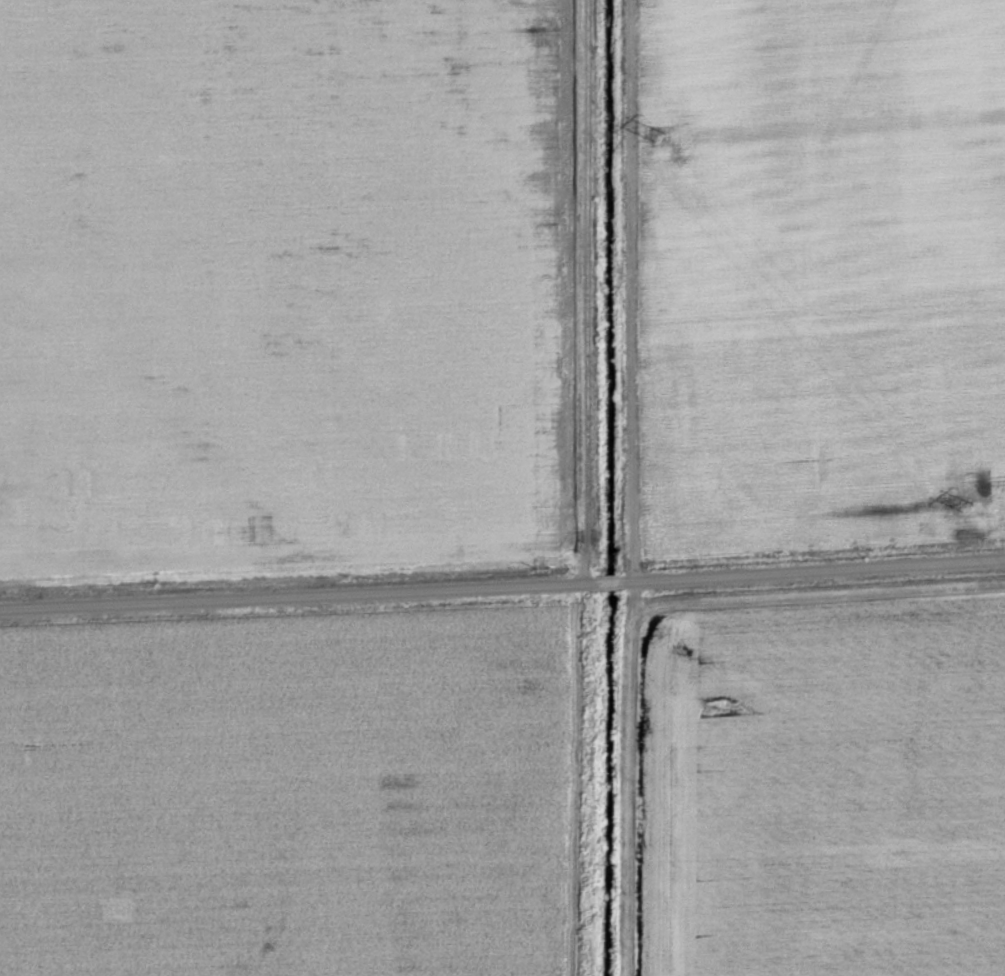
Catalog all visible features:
power tower: (659, 136)
power tower: (966, 505)
road: (502, 587)

